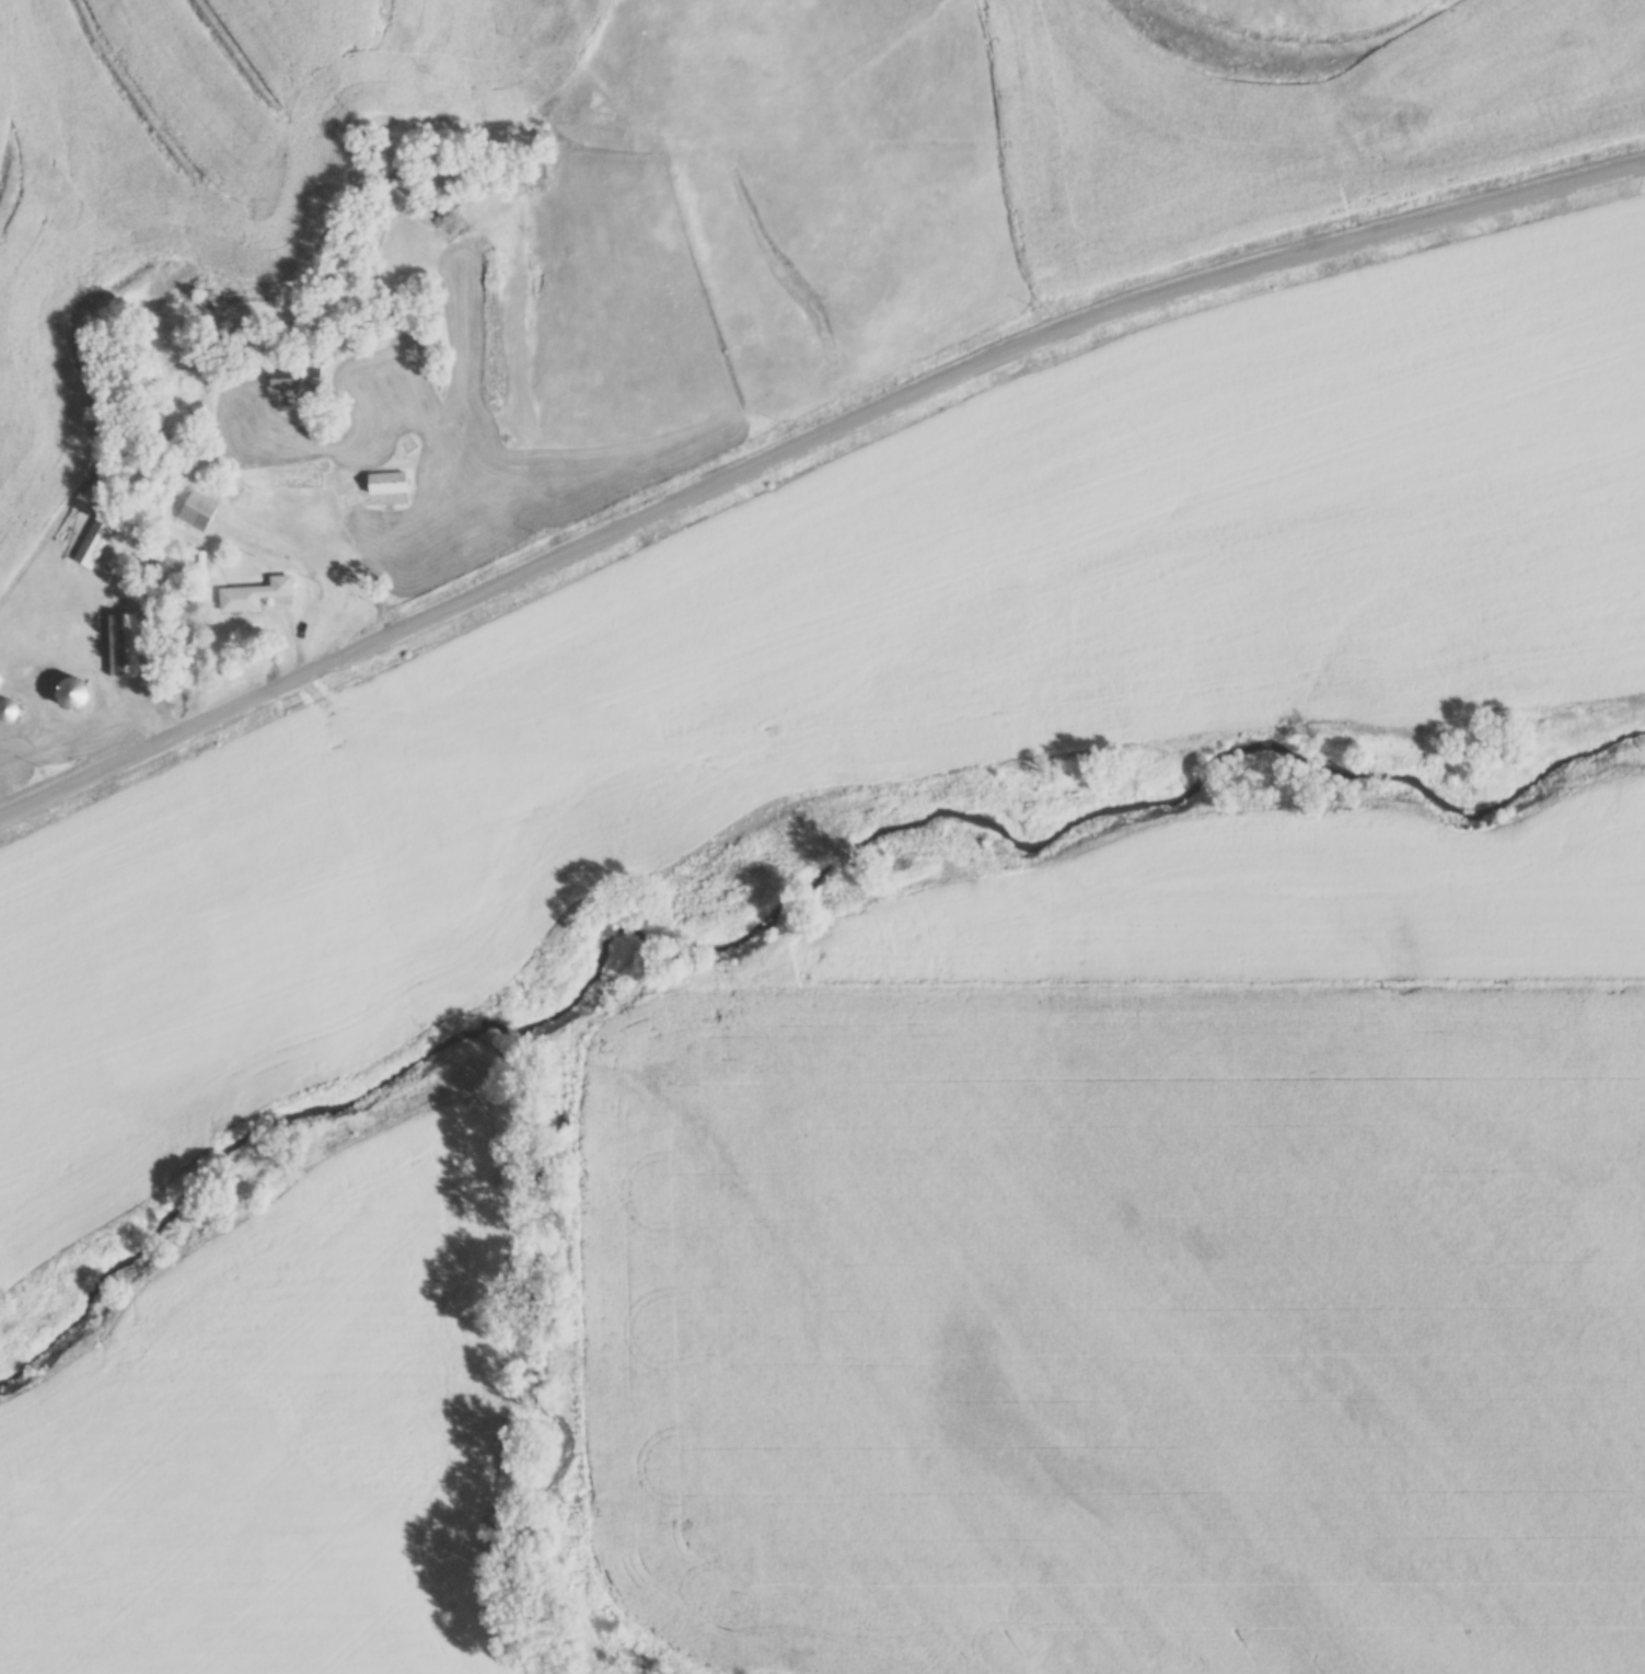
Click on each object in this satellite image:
building: (290, 379)
building: (196, 407)
road: (806, 448)
building: (384, 478)
building: (195, 507)
building: (92, 536)
building: (251, 590)
building: (118, 640)
building: (69, 690)
building: (7, 706)

